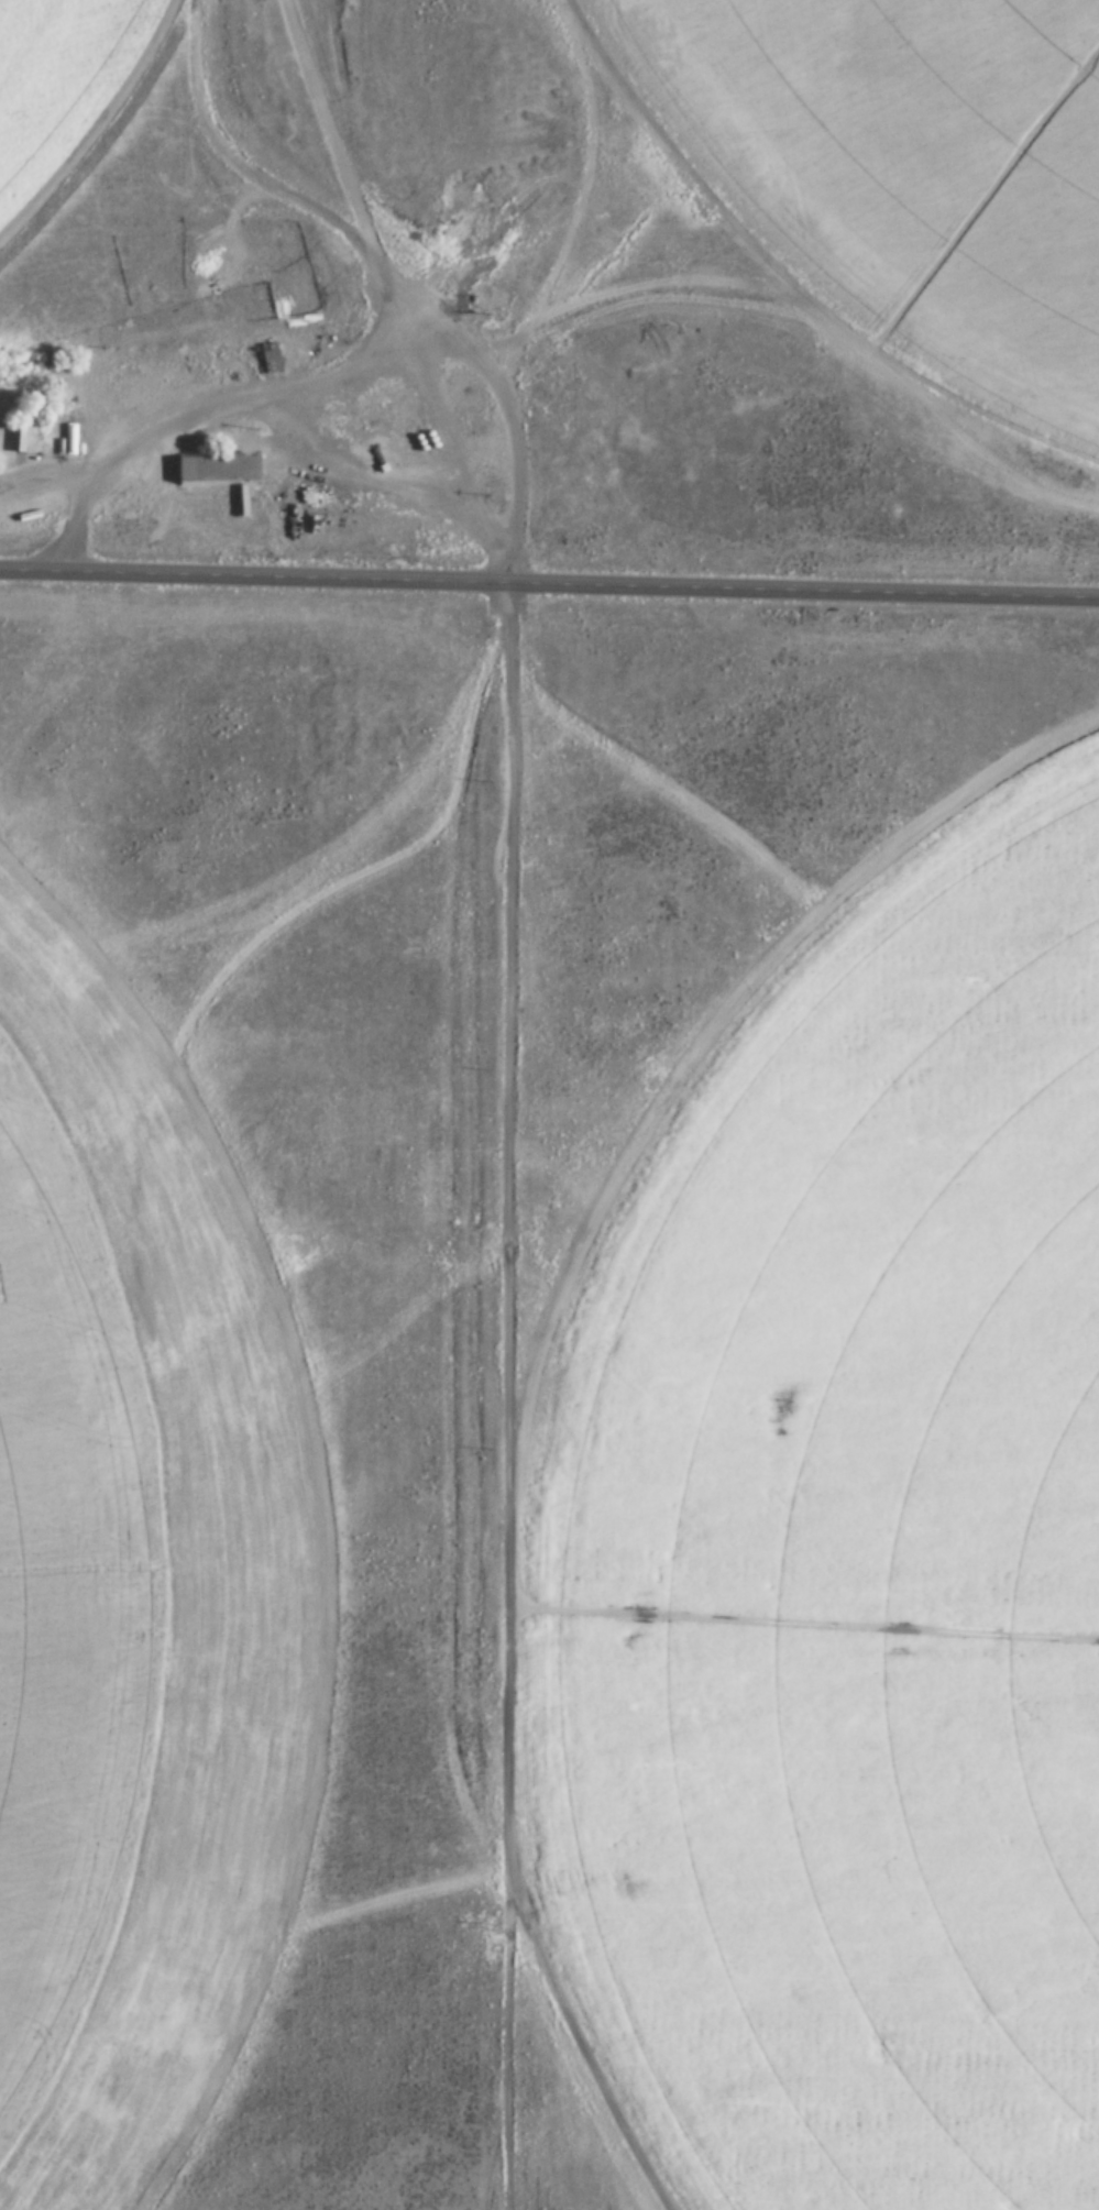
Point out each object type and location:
crop: (63, 83)
crop: (917, 185)
building: (271, 359)
building: (17, 432)
building: (70, 441)
building: (219, 471)
crop: (857, 1590)
crop: (102, 1668)

